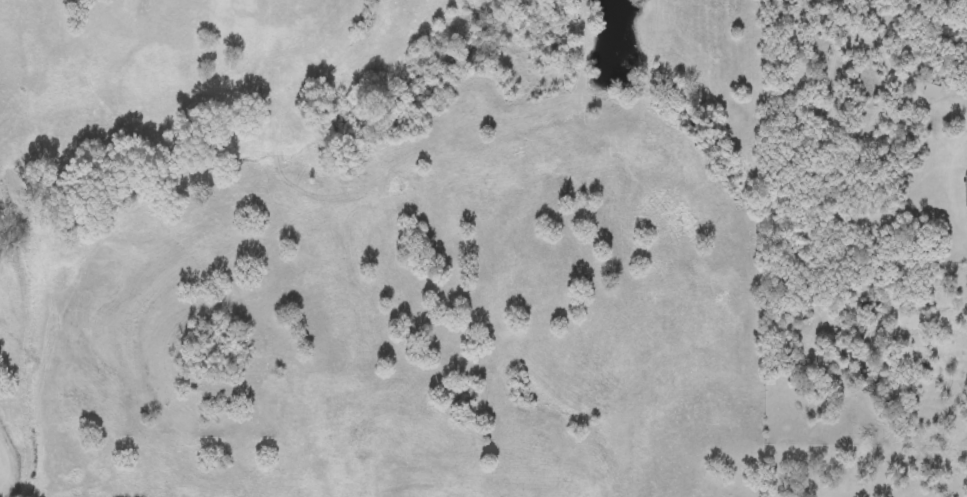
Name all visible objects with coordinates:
building: (964, 191)

